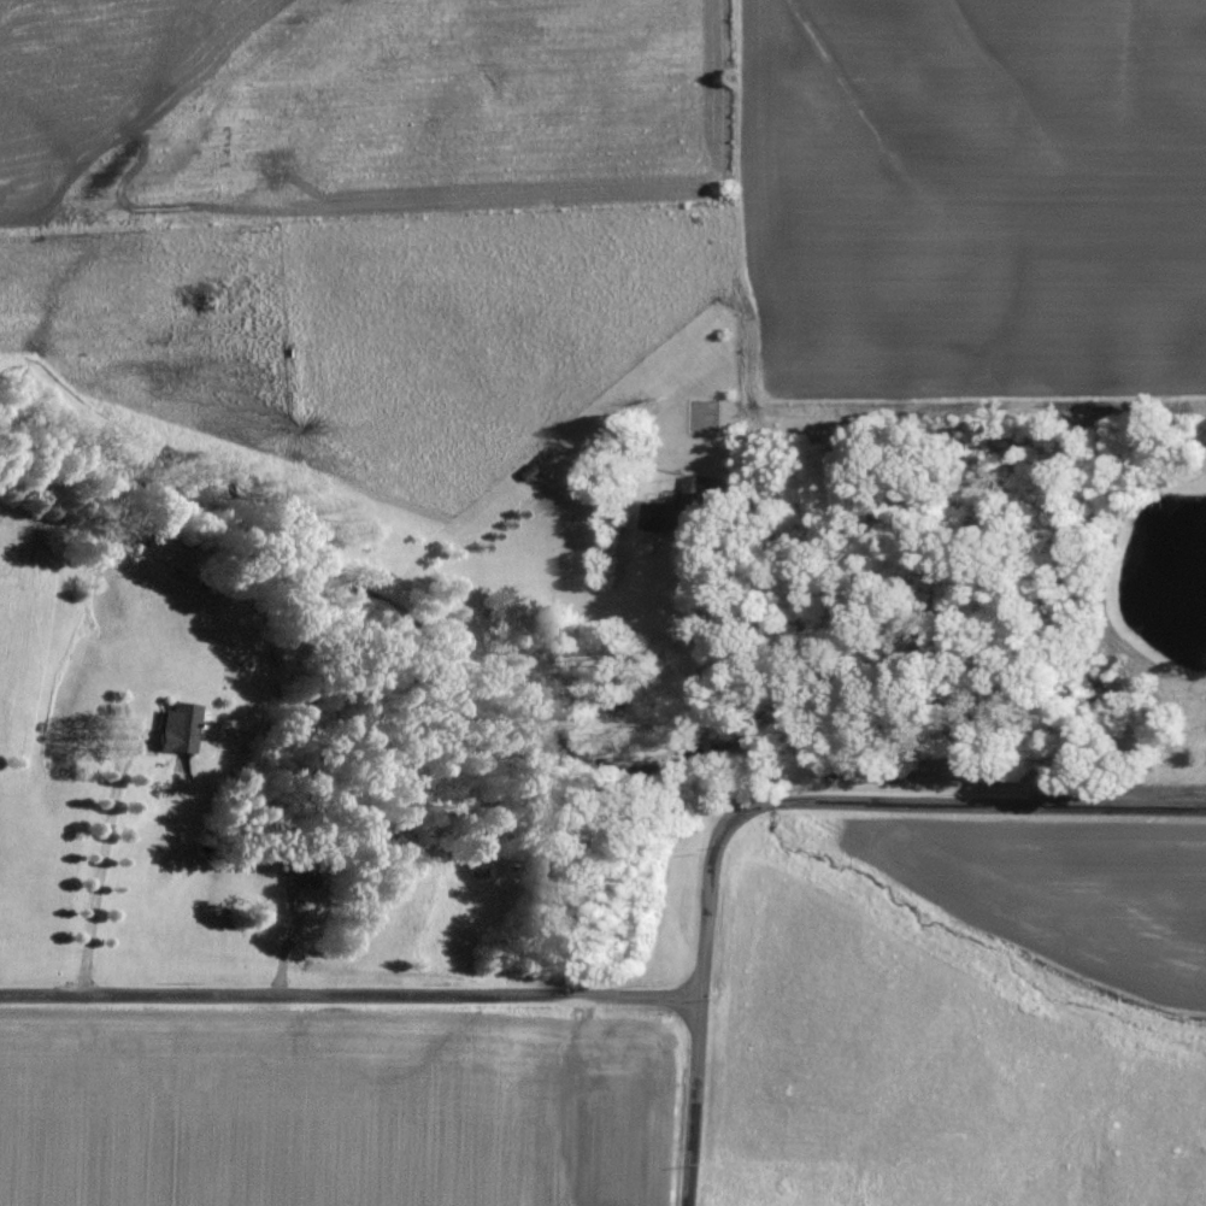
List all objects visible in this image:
building: (682, 512)
road: (700, 678)
building: (180, 728)
road: (990, 806)
road: (101, 861)
building: (300, 871)
road: (700, 986)
road: (349, 996)

